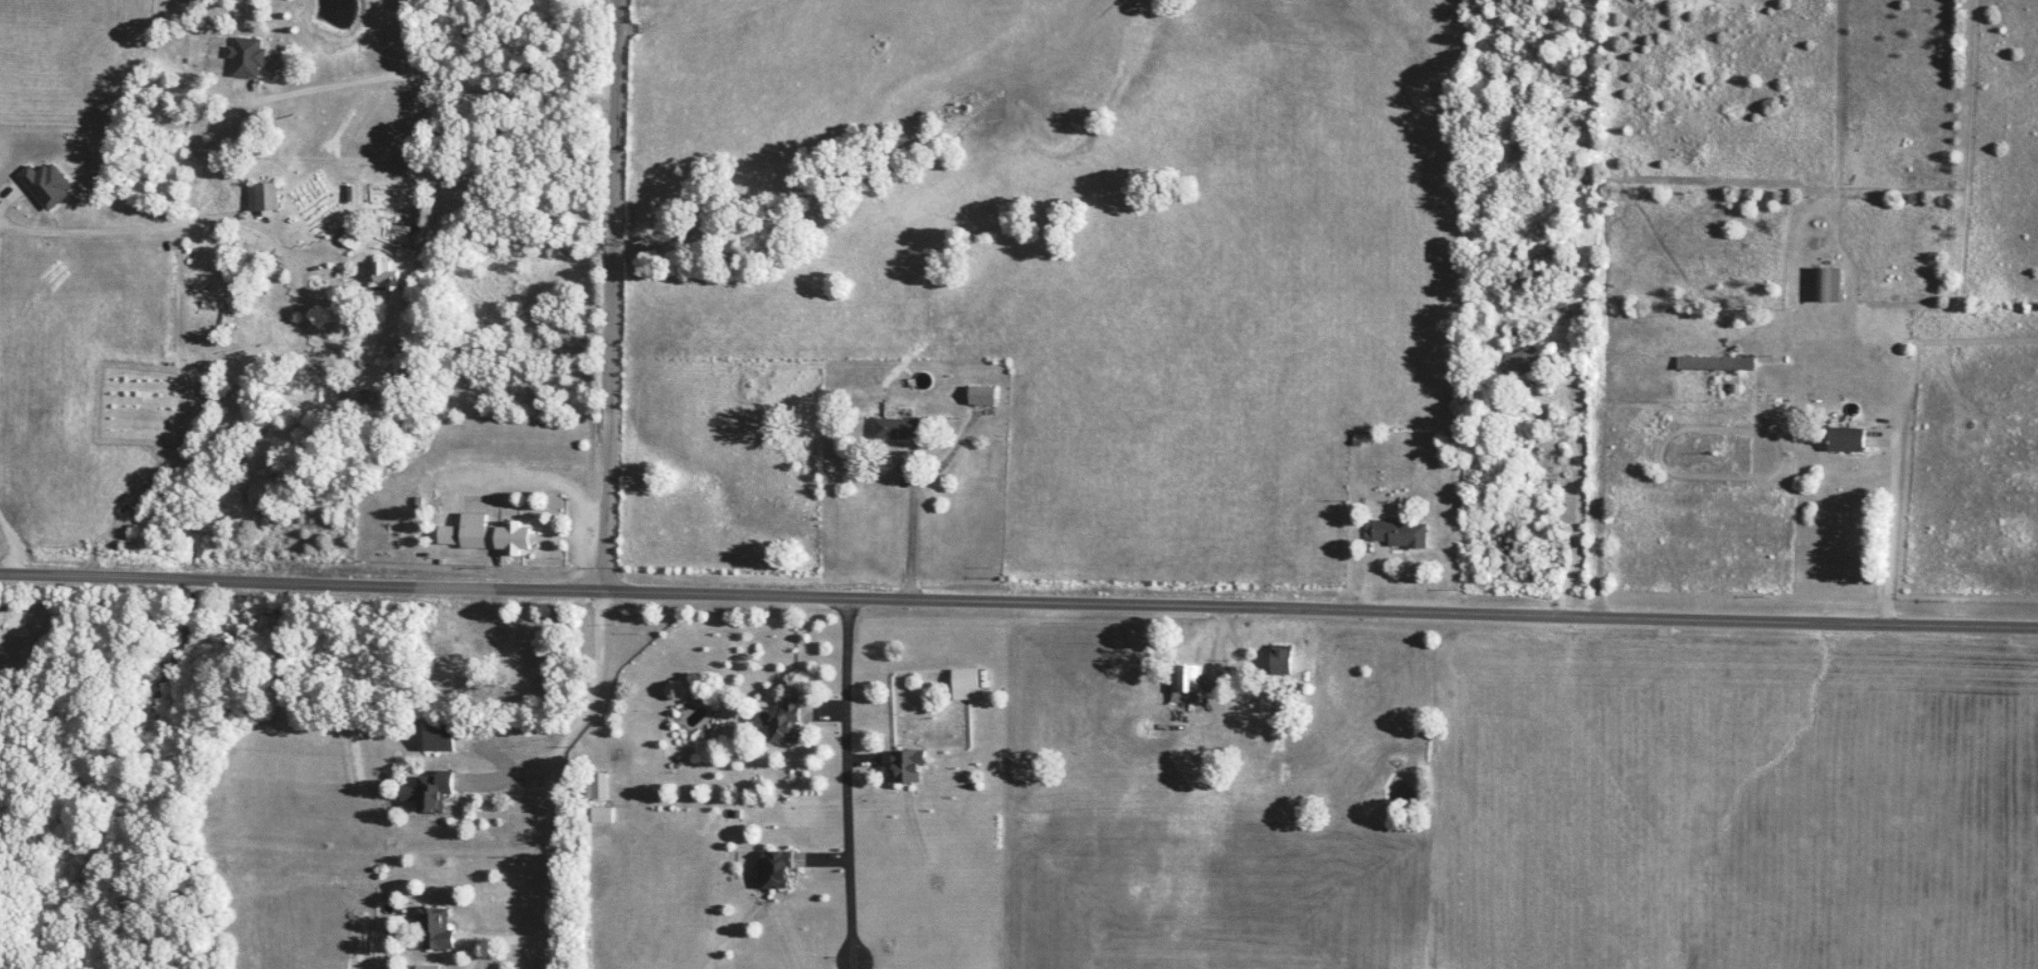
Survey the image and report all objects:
building: (246, 57)
road: (434, 76)
building: (262, 196)
road: (178, 220)
building: (381, 274)
building: (1825, 284)
road: (616, 296)
road: (445, 349)
building: (1715, 363)
building: (1512, 366)
building: (981, 396)
building: (895, 429)
building: (1845, 439)
road: (1583, 496)
road: (1894, 521)
road: (914, 523)
building: (1397, 534)
building: (486, 535)
road: (13, 546)
road: (1018, 604)
building: (1280, 659)
building: (1186, 683)
building: (964, 684)
building: (778, 722)
building: (438, 737)
building: (906, 766)
road: (512, 772)
road: (553, 772)
road: (851, 784)
building: (599, 786)
building: (428, 792)
building: (601, 815)
building: (774, 869)
building: (433, 929)
road: (500, 935)

